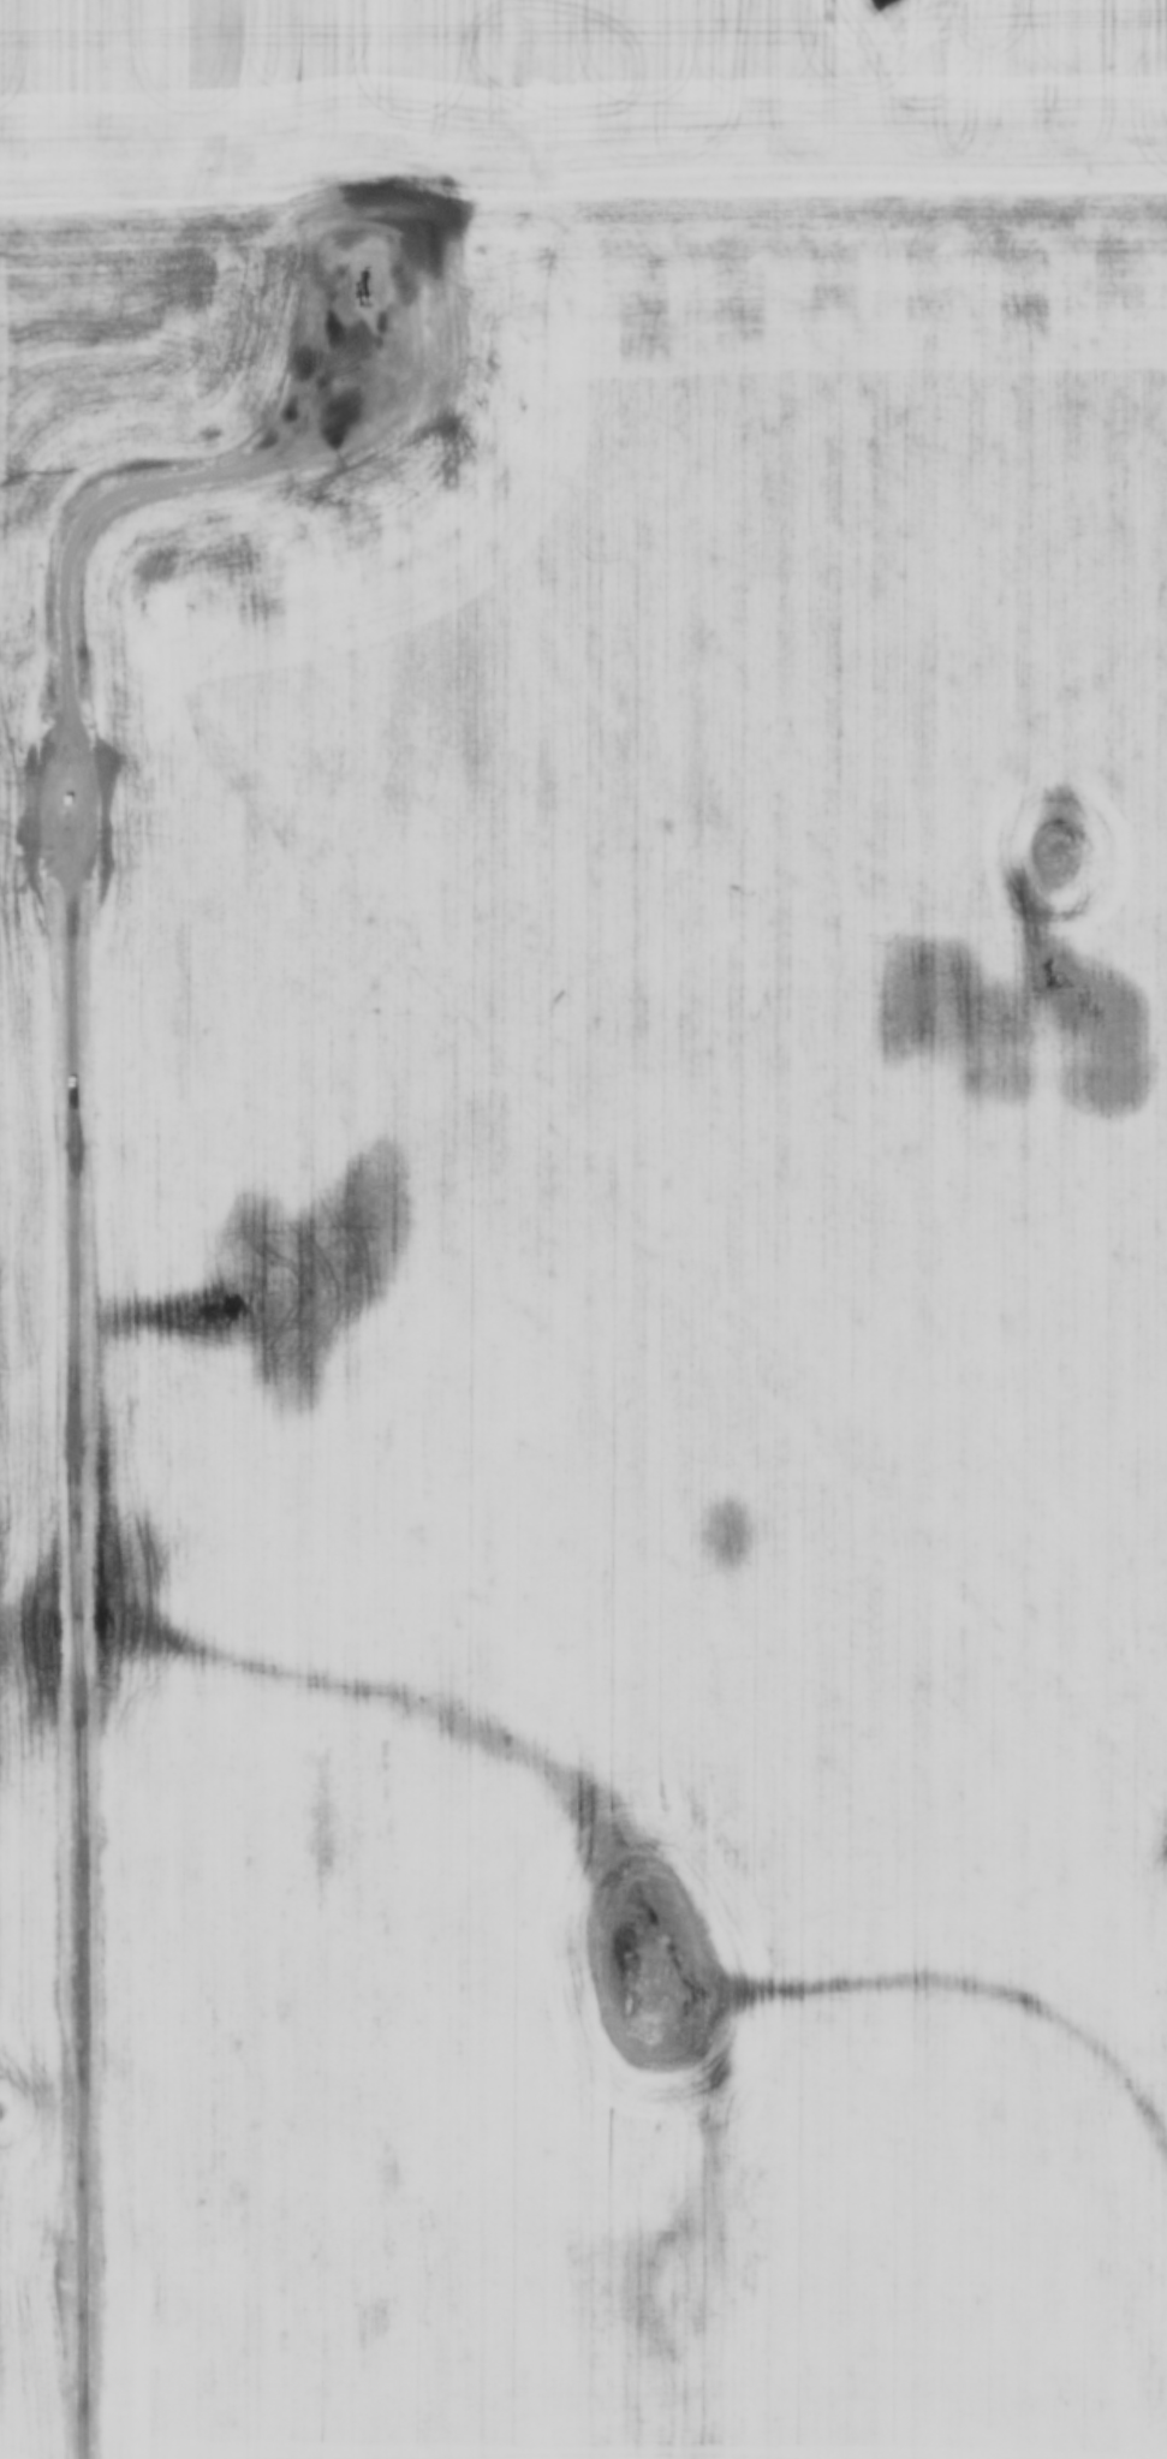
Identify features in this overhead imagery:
road: (78, 1642)

